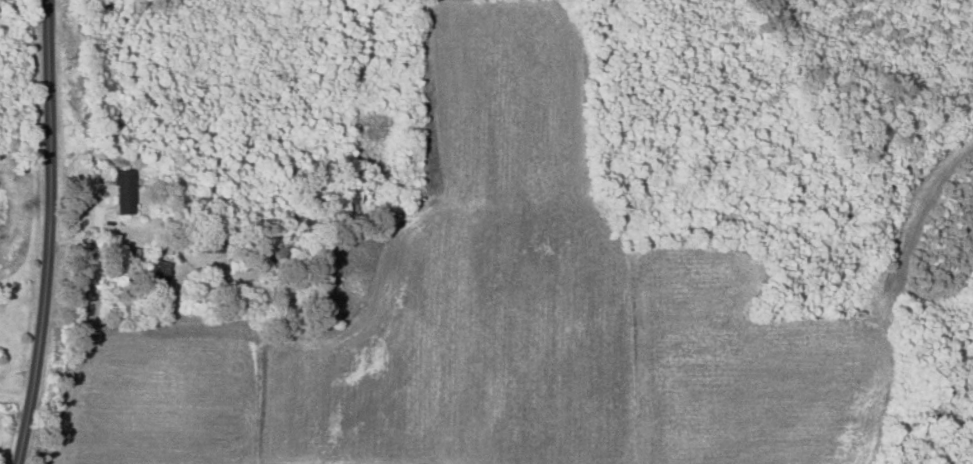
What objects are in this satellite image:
building: (122, 190)
road: (46, 233)
road: (14, 394)

